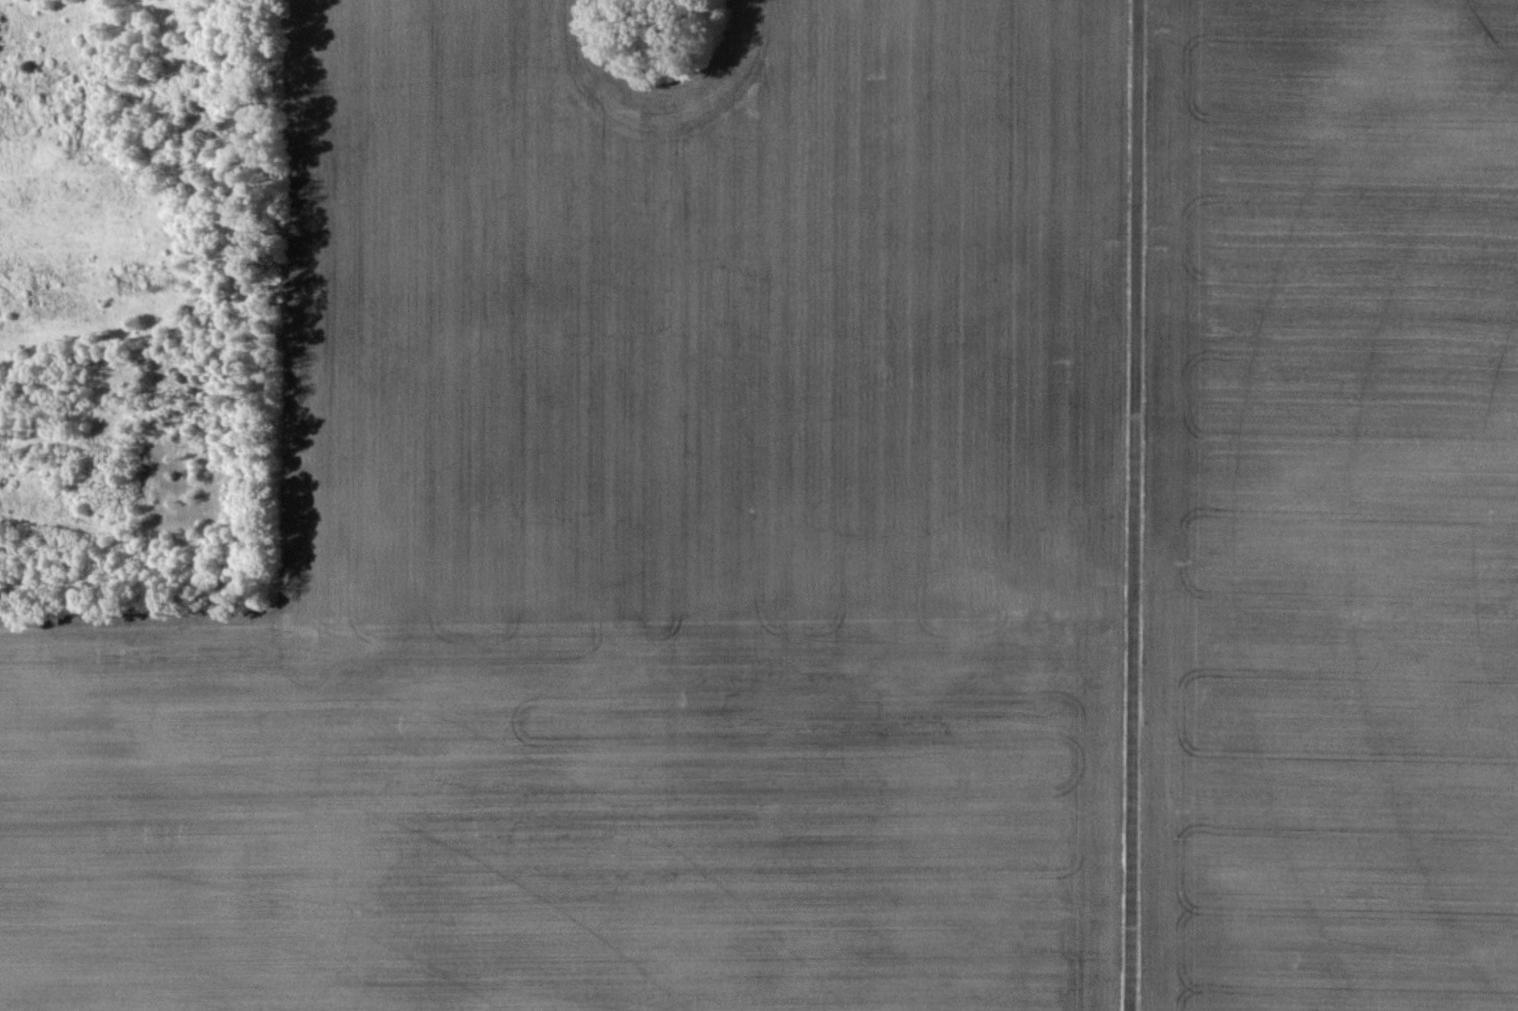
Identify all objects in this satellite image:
road: (1127, 505)

